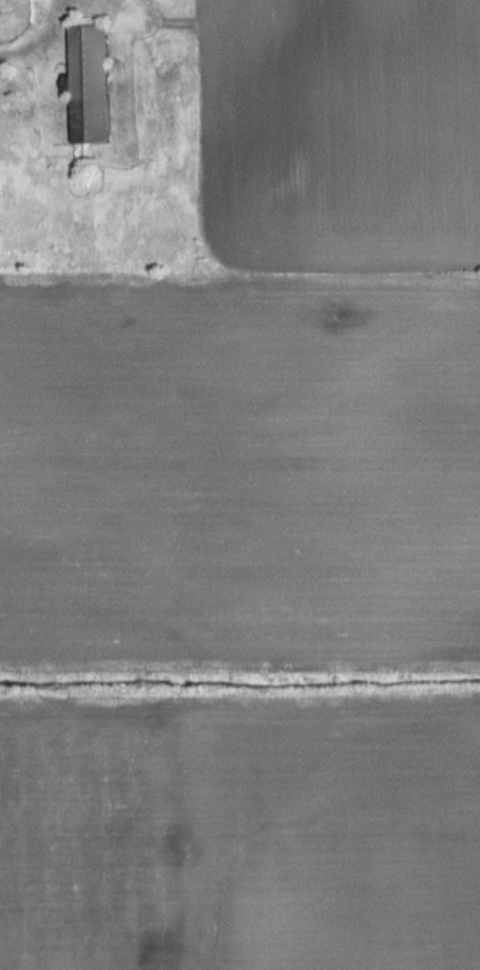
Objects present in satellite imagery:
building: (90, 84)

